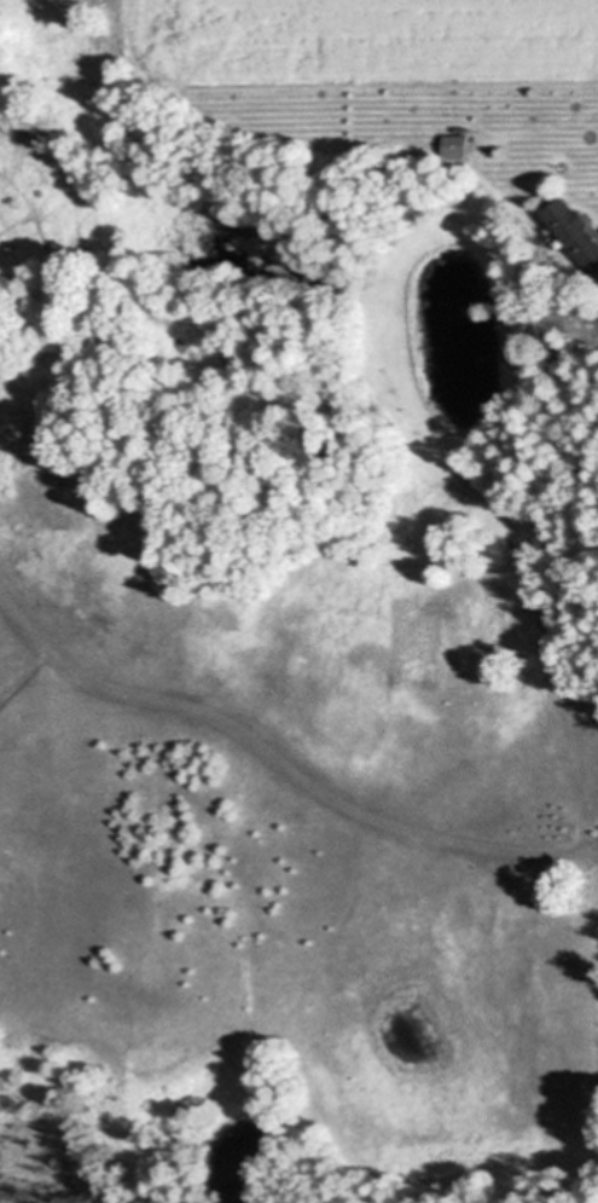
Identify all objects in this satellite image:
building: (454, 146)
building: (574, 236)
road: (592, 855)

